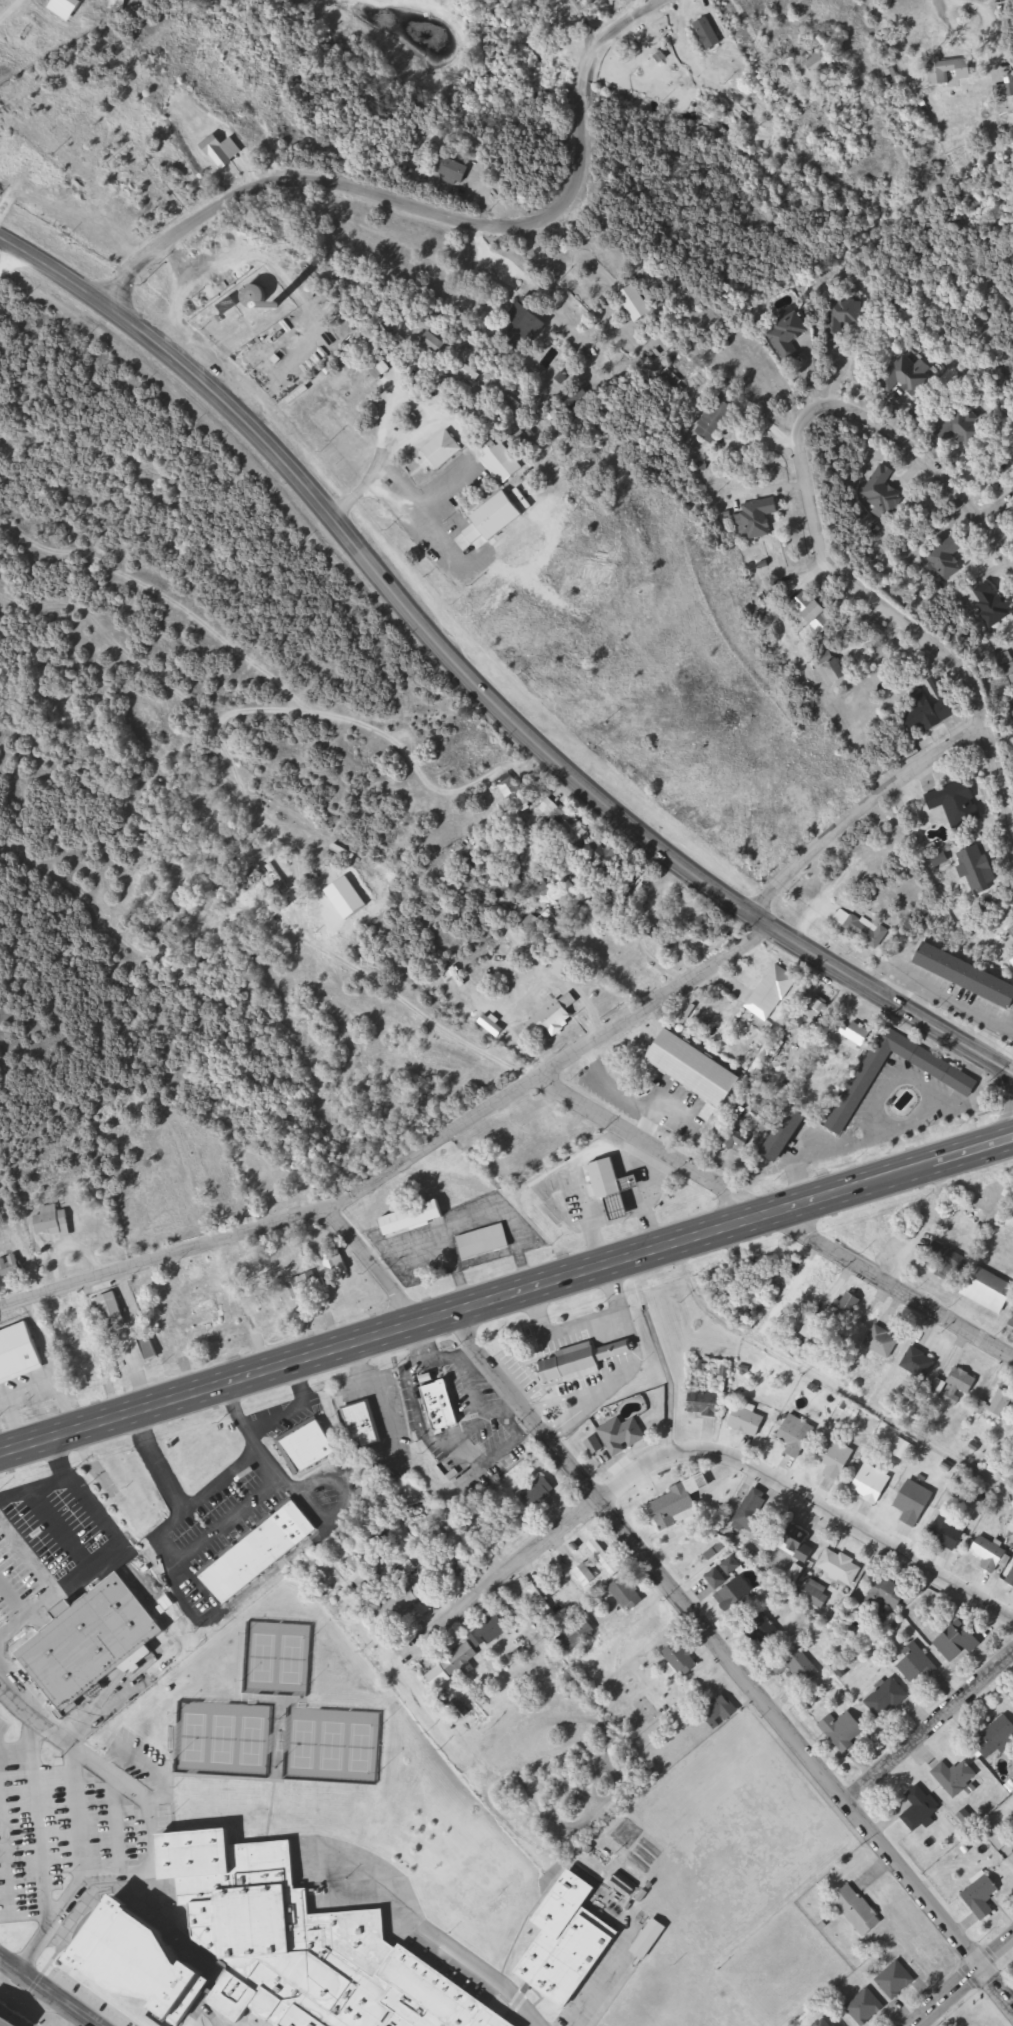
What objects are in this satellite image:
building: (119, 4)
road: (635, 7)
road: (8, 8)
road: (749, 25)
road: (975, 29)
building: (709, 33)
building: (817, 65)
building: (950, 69)
road: (790, 81)
building: (1006, 89)
building: (220, 152)
building: (455, 169)
road: (439, 215)
road: (22, 268)
building: (256, 297)
building: (638, 303)
building: (847, 315)
building: (526, 330)
building: (792, 336)
building: (434, 343)
building: (381, 368)
building: (905, 375)
building: (716, 422)
building: (962, 433)
building: (444, 450)
building: (502, 460)
road: (932, 461)
building: (884, 490)
building: (759, 517)
building: (948, 557)
building: (994, 602)
road: (882, 603)
building: (814, 609)
building: (1009, 662)
building: (832, 667)
road: (477, 687)
building: (929, 712)
building: (512, 788)
building: (959, 803)
road: (864, 808)
building: (565, 820)
building: (615, 867)
building: (980, 869)
building: (500, 889)
building: (706, 928)
building: (862, 928)
building: (1012, 931)
building: (966, 974)
building: (773, 991)
building: (818, 1008)
building: (556, 1016)
building: (861, 1087)
road: (1007, 1114)
building: (788, 1134)
road: (650, 1139)
road: (399, 1152)
building: (151, 1184)
building: (611, 1186)
building: (415, 1218)
building: (53, 1220)
building: (485, 1242)
building: (944, 1255)
road: (371, 1261)
building: (337, 1262)
building: (12, 1269)
building: (198, 1274)
building: (305, 1284)
building: (812, 1289)
building: (990, 1291)
road: (506, 1297)
road: (237, 1305)
building: (114, 1309)
building: (846, 1310)
building: (208, 1314)
building: (1012, 1322)
building: (814, 1330)
building: (883, 1342)
building: (19, 1354)
building: (90, 1361)
building: (581, 1362)
building: (919, 1363)
road: (51, 1364)
building: (963, 1381)
building: (951, 1397)
building: (1002, 1403)
building: (707, 1404)
building: (444, 1410)
building: (364, 1421)
building: (748, 1422)
building: (797, 1435)
building: (623, 1436)
building: (595, 1445)
building: (309, 1448)
building: (836, 1458)
building: (872, 1483)
building: (965, 1487)
building: (540, 1492)
road: (812, 1500)
building: (680, 1503)
building: (916, 1503)
building: (753, 1517)
building: (950, 1532)
building: (796, 1541)
building: (260, 1553)
building: (992, 1554)
building: (605, 1557)
road: (518, 1565)
building: (841, 1567)
building: (797, 1573)
building: (1011, 1580)
building: (731, 1584)
building: (628, 1594)
building: (885, 1597)
building: (403, 1602)
building: (491, 1630)
building: (768, 1630)
building: (578, 1635)
building: (95, 1643)
building: (457, 1655)
park: (262, 1659)
building: (682, 1659)
road: (733, 1659)
park: (292, 1661)
building: (797, 1664)
building: (918, 1664)
building: (888, 1699)
building: (720, 1711)
building: (845, 1730)
road: (932, 1730)
building: (996, 1737)
park: (194, 1738)
park: (223, 1740)
park: (253, 1742)
road: (71, 1744)
park: (304, 1745)
park: (333, 1747)
road: (14, 1748)
park: (362, 1748)
building: (956, 1777)
building: (922, 1808)
road: (33, 1812)
road: (111, 1816)
road: (77, 1863)
road: (147, 1864)
road: (1, 1882)
building: (982, 1897)
building: (858, 1910)
building: (651, 1939)
building: (570, 1941)
building: (268, 1949)
building: (897, 1980)
road: (963, 1983)
road: (495, 1986)
road: (47, 1992)
building: (866, 2006)

